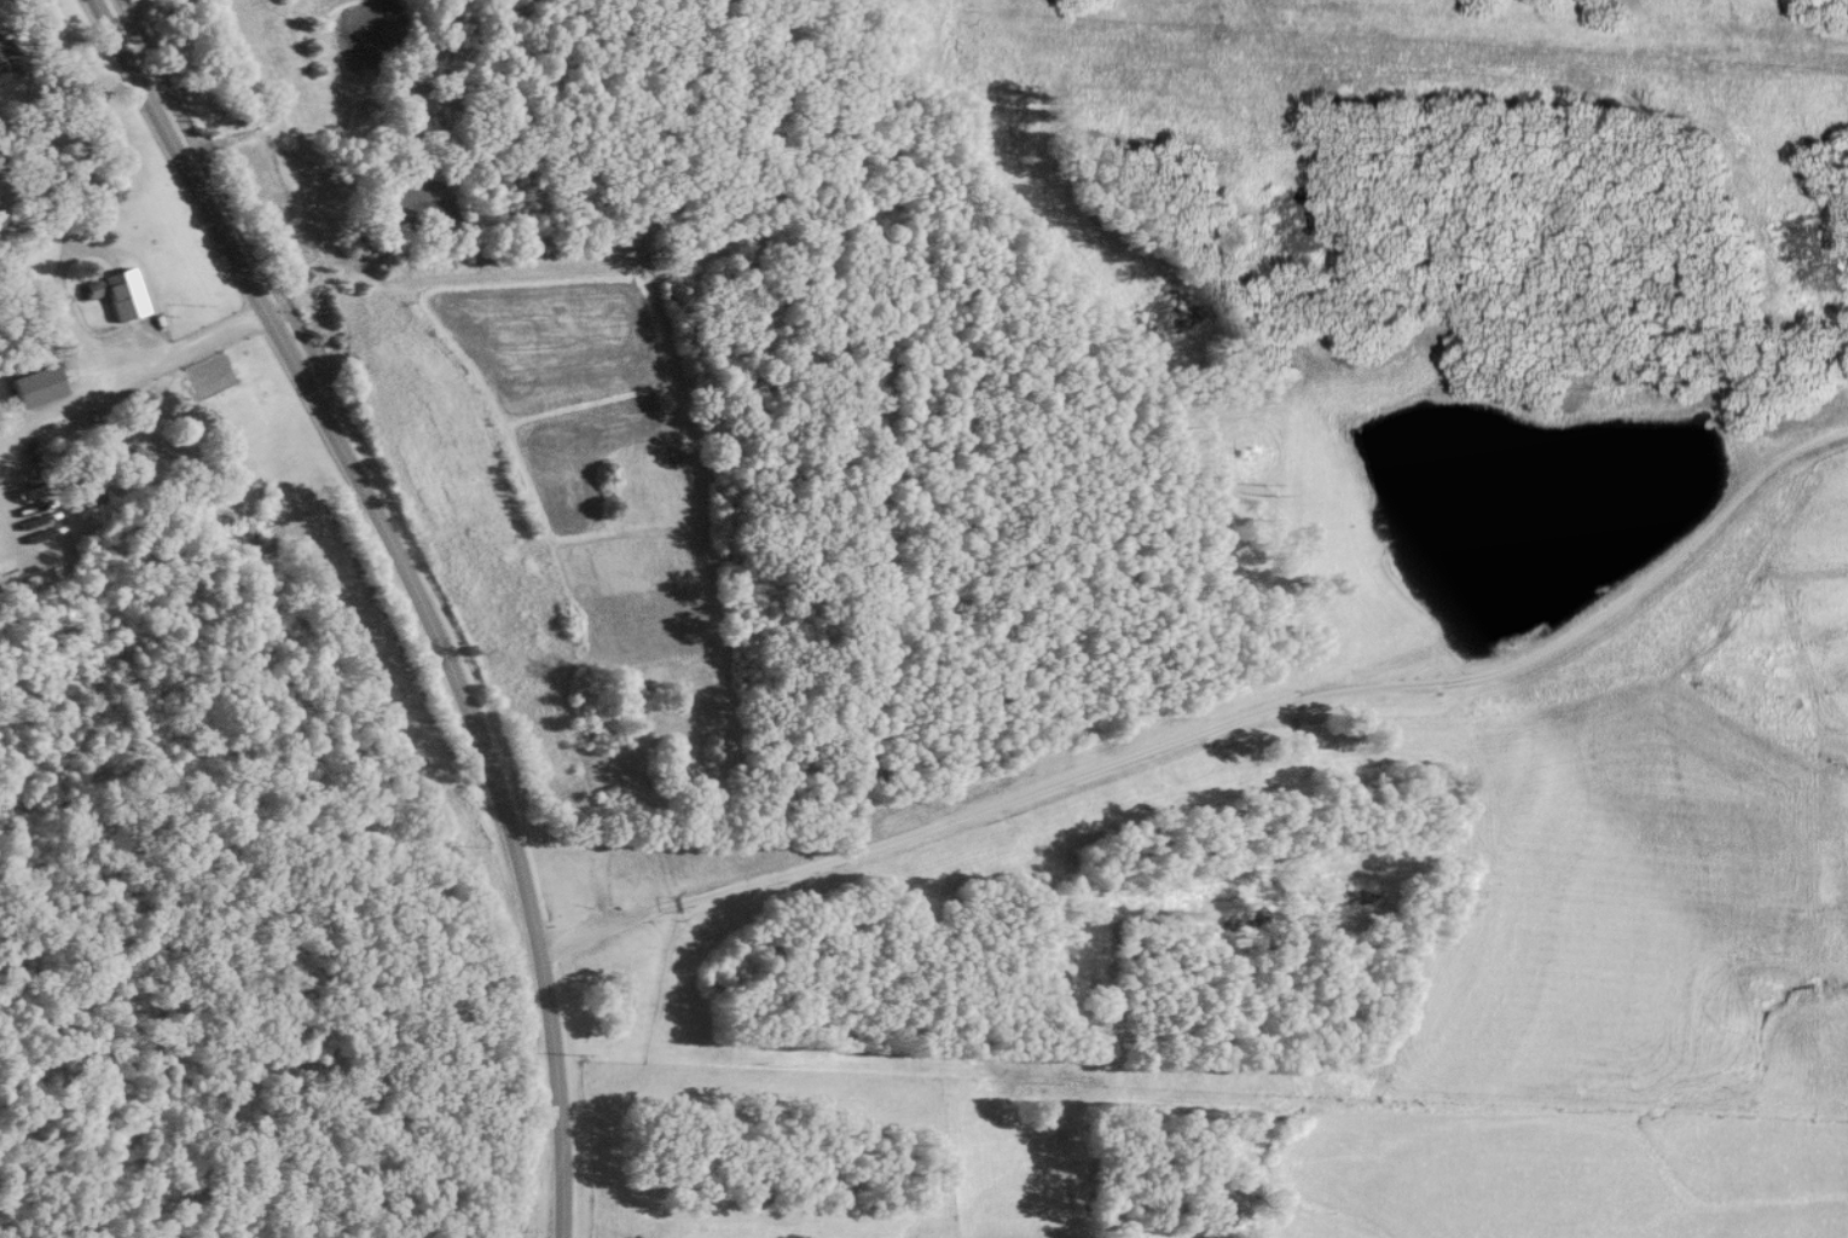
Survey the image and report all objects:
building: (6, 64)
building: (118, 295)
road: (185, 347)
building: (36, 387)
road: (406, 594)
road: (1217, 724)

